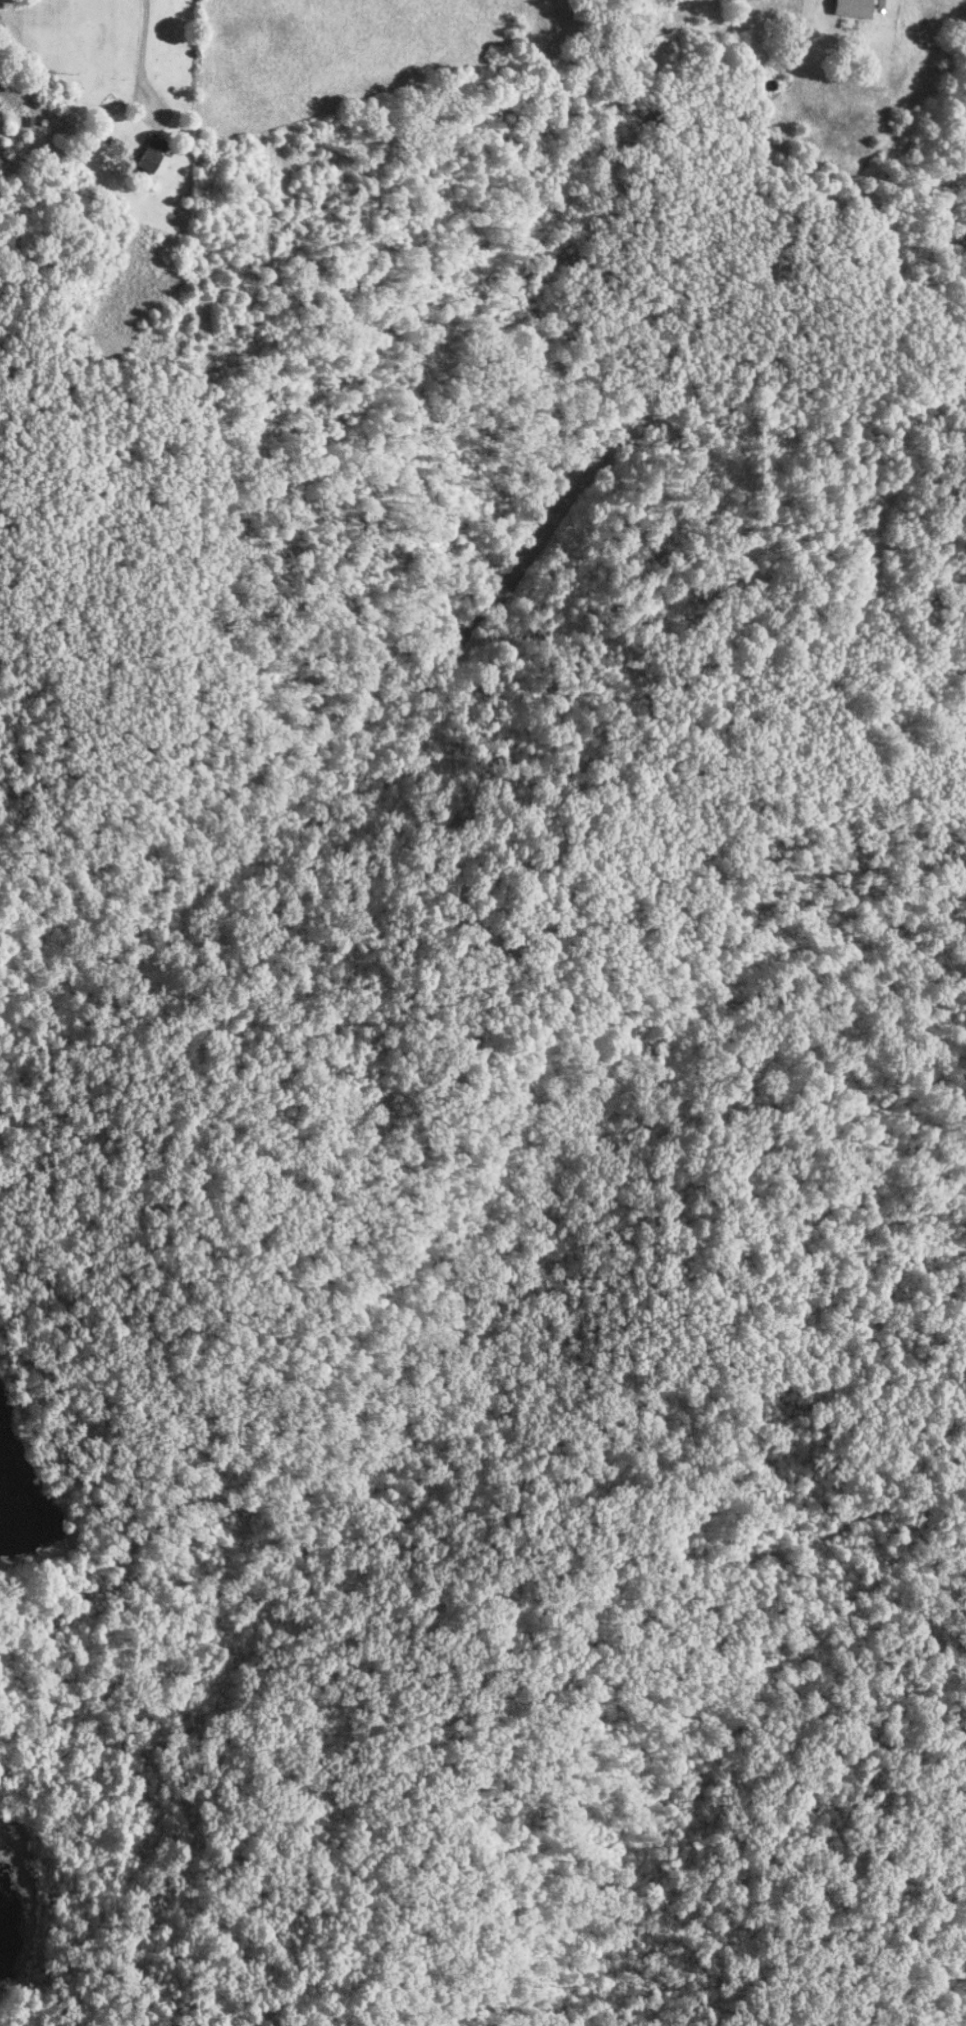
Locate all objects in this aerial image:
building: (852, 7)
building: (151, 154)

